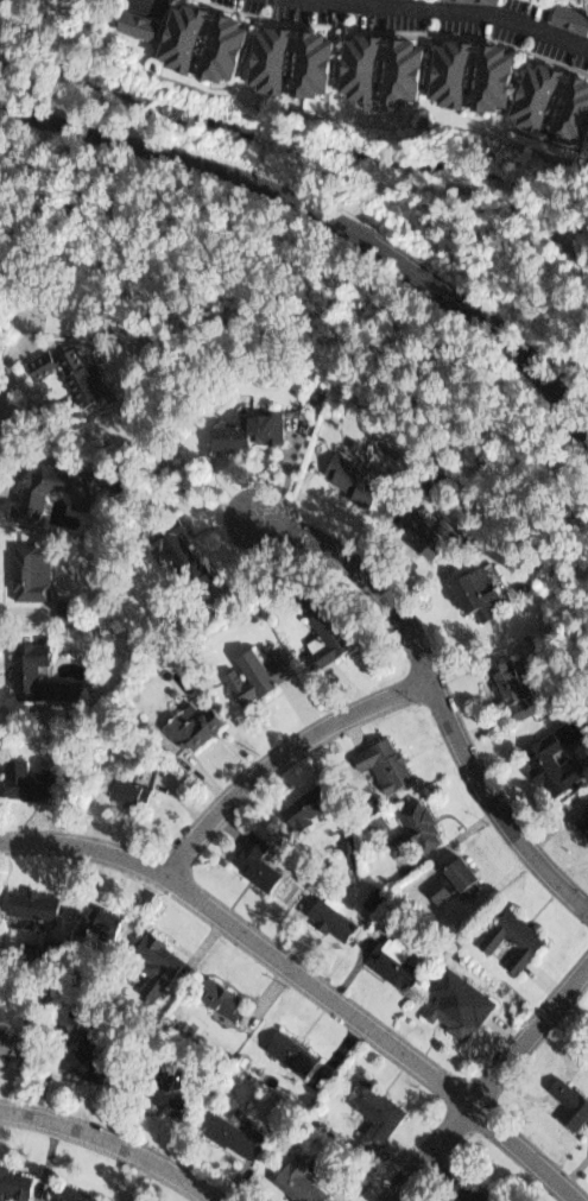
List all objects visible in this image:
building: (470, 1)
road: (445, 7)
building: (571, 8)
building: (569, 19)
building: (133, 24)
building: (198, 40)
building: (285, 56)
building: (377, 67)
building: (469, 71)
building: (554, 99)
road: (329, 213)
building: (70, 377)
building: (239, 426)
building: (352, 474)
building: (27, 493)
building: (428, 524)
building: (177, 548)
building: (30, 571)
building: (483, 584)
building: (68, 611)
building: (327, 622)
building: (21, 669)
building: (510, 675)
building: (251, 676)
road: (434, 691)
building: (188, 722)
building: (555, 752)
road: (279, 756)
building: (390, 758)
building: (25, 778)
building: (125, 788)
building: (308, 802)
building: (583, 809)
building: (425, 817)
building: (583, 822)
building: (252, 860)
building: (461, 872)
building: (30, 902)
building: (334, 909)
building: (96, 915)
building: (519, 933)
building: (398, 950)
building: (150, 963)
road: (308, 981)
building: (213, 997)
building: (461, 1000)
building: (8, 1045)
building: (287, 1049)
building: (80, 1057)
road: (489, 1081)
building: (165, 1091)
building: (573, 1095)
building: (380, 1105)
building: (232, 1133)
road: (113, 1139)
building: (295, 1178)
building: (474, 1181)
building: (12, 1184)
building: (72, 1193)

